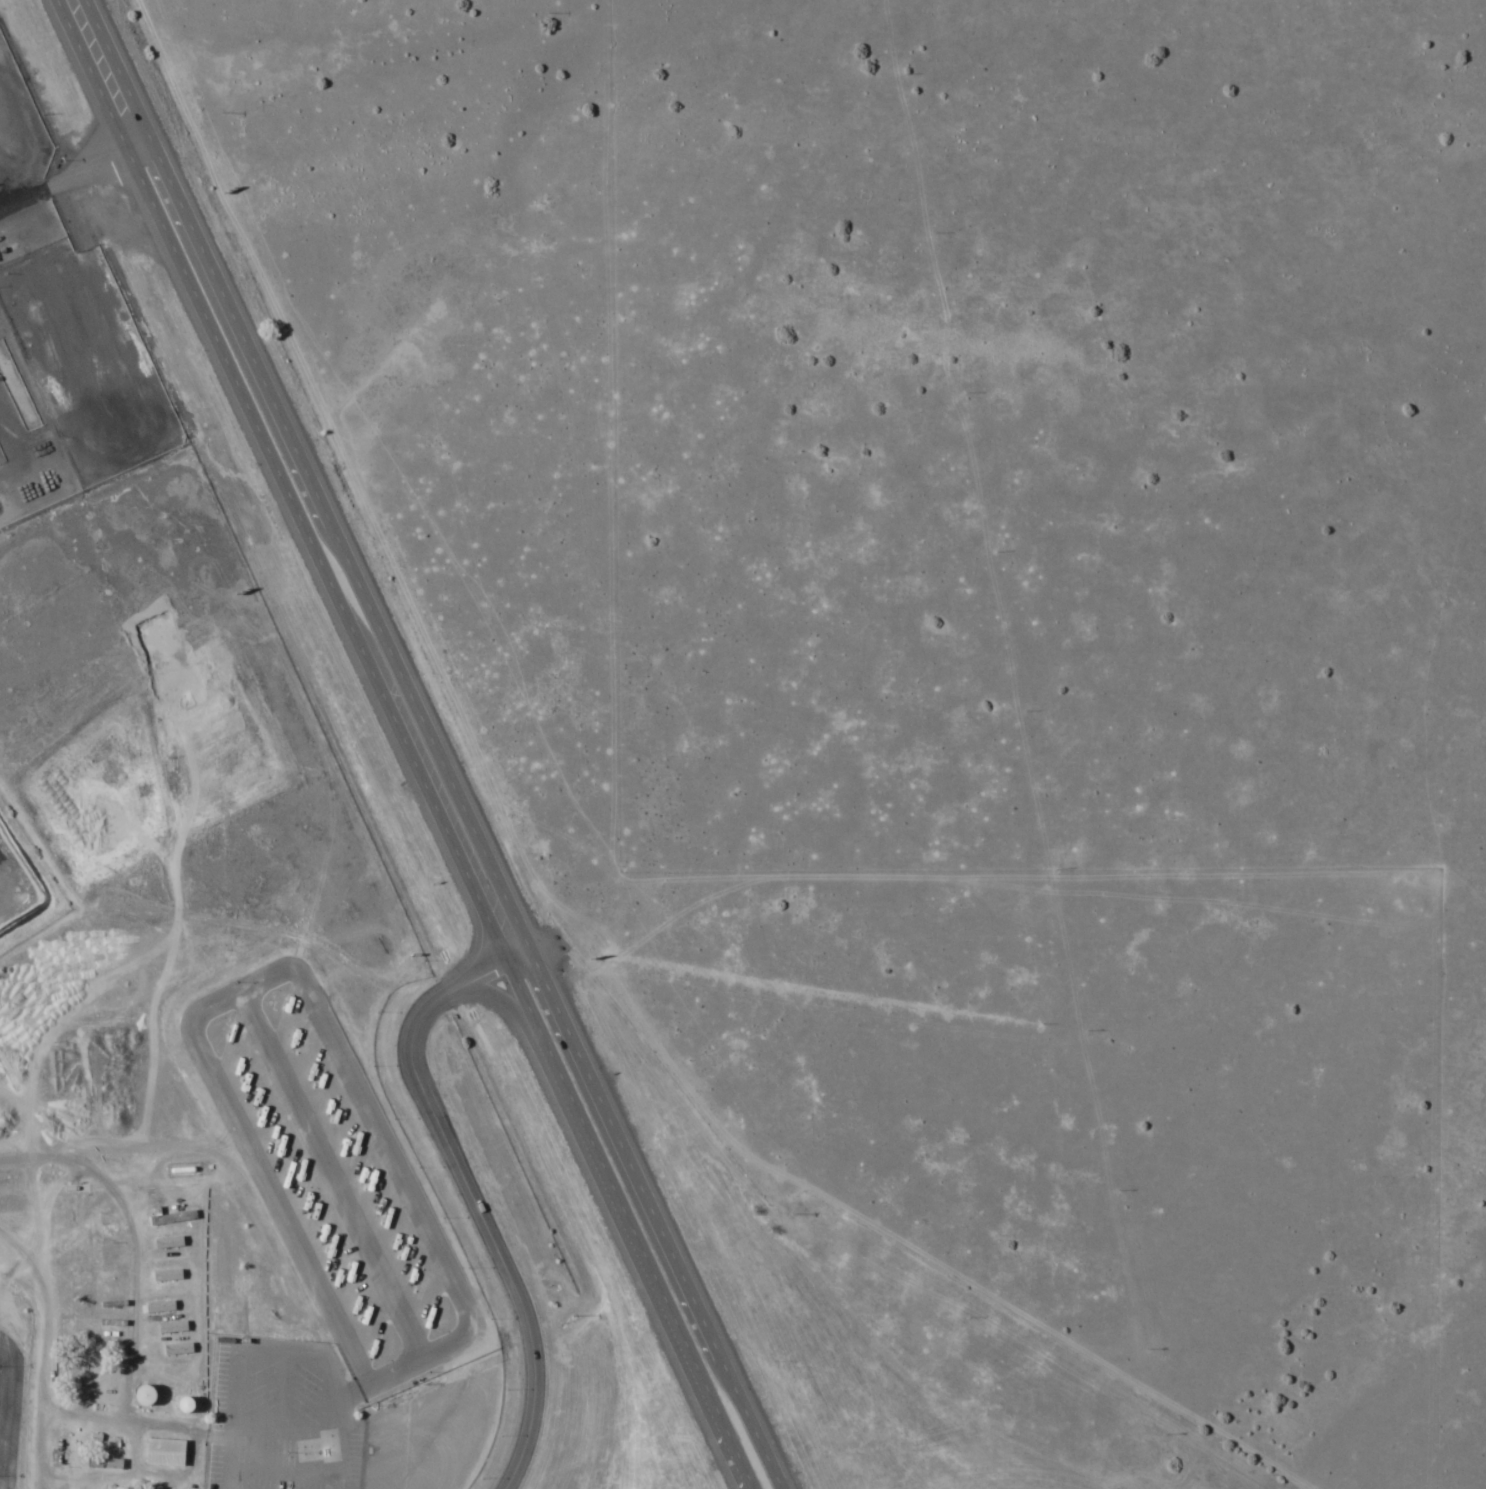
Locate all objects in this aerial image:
road: (95, 70)
road: (76, 165)
building: (54, 290)
road: (230, 329)
building: (113, 429)
road: (308, 558)
road: (423, 745)
road: (500, 1000)
road: (619, 1159)
road: (493, 1201)
road: (624, 1231)
building: (164, 1243)
road: (7, 1255)
road: (137, 1262)
building: (89, 1276)
building: (156, 1308)
building: (20, 1318)
road: (47, 1326)
building: (1, 1350)
building: (173, 1350)
building: (12, 1377)
building: (141, 1400)
storage tank: (141, 1400)
building: (182, 1409)
storage tank: (182, 1409)
parking lot: (286, 1420)
road: (743, 1422)
road: (280, 1451)
building: (11, 1453)
building: (270, 1454)
building: (159, 1455)
building: (49, 1458)
building: (100, 1464)
road: (282, 1470)

